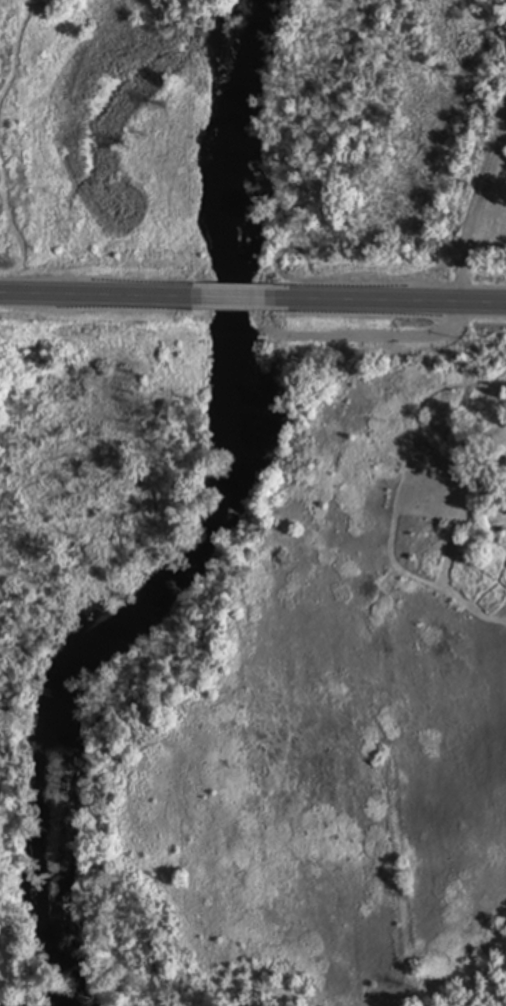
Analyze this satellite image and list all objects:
road: (478, 208)
road: (252, 300)
river: (199, 532)
building: (6, 1005)

